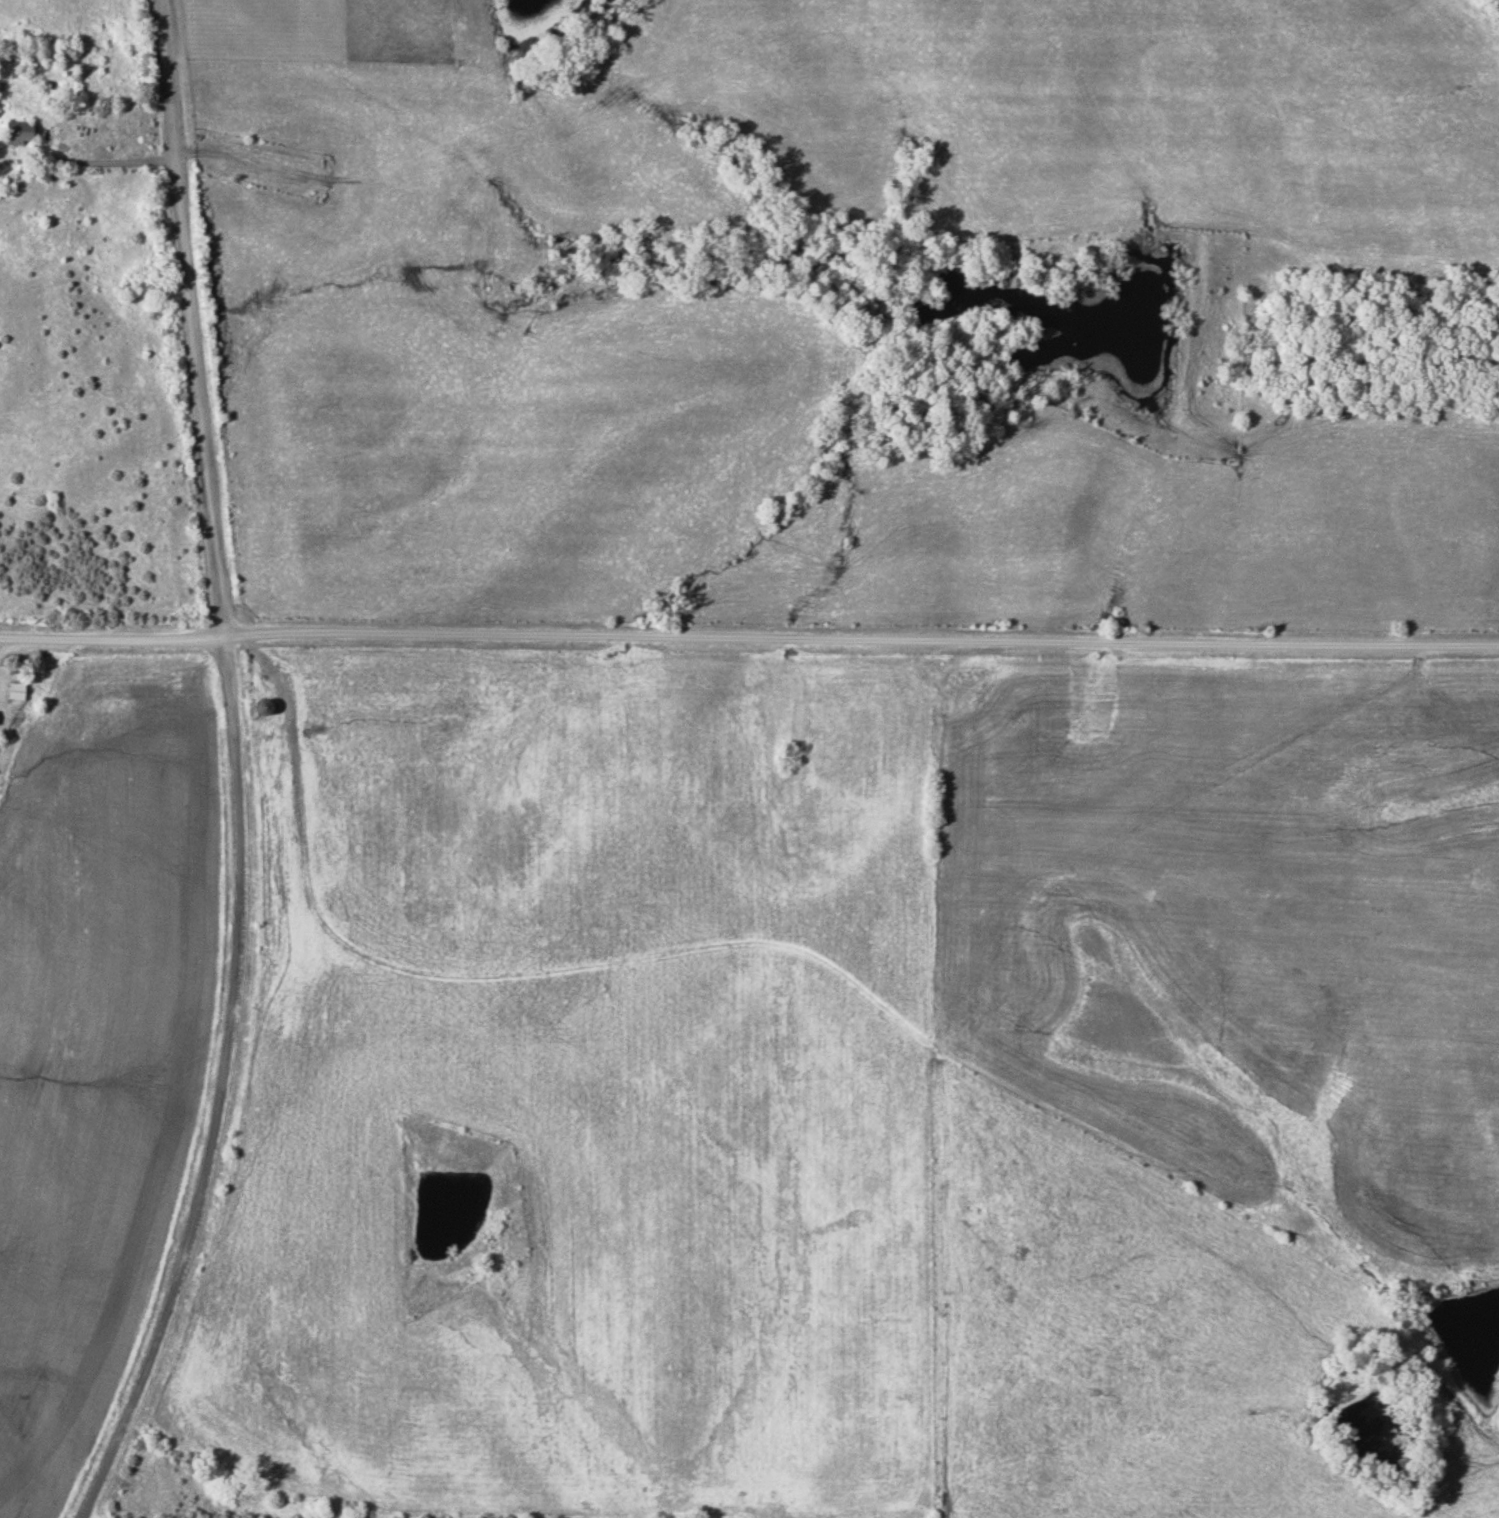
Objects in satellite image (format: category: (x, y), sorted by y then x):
building: (20, 132)
road: (190, 318)
road: (112, 639)
road: (861, 639)
building: (17, 690)
road: (223, 1088)

